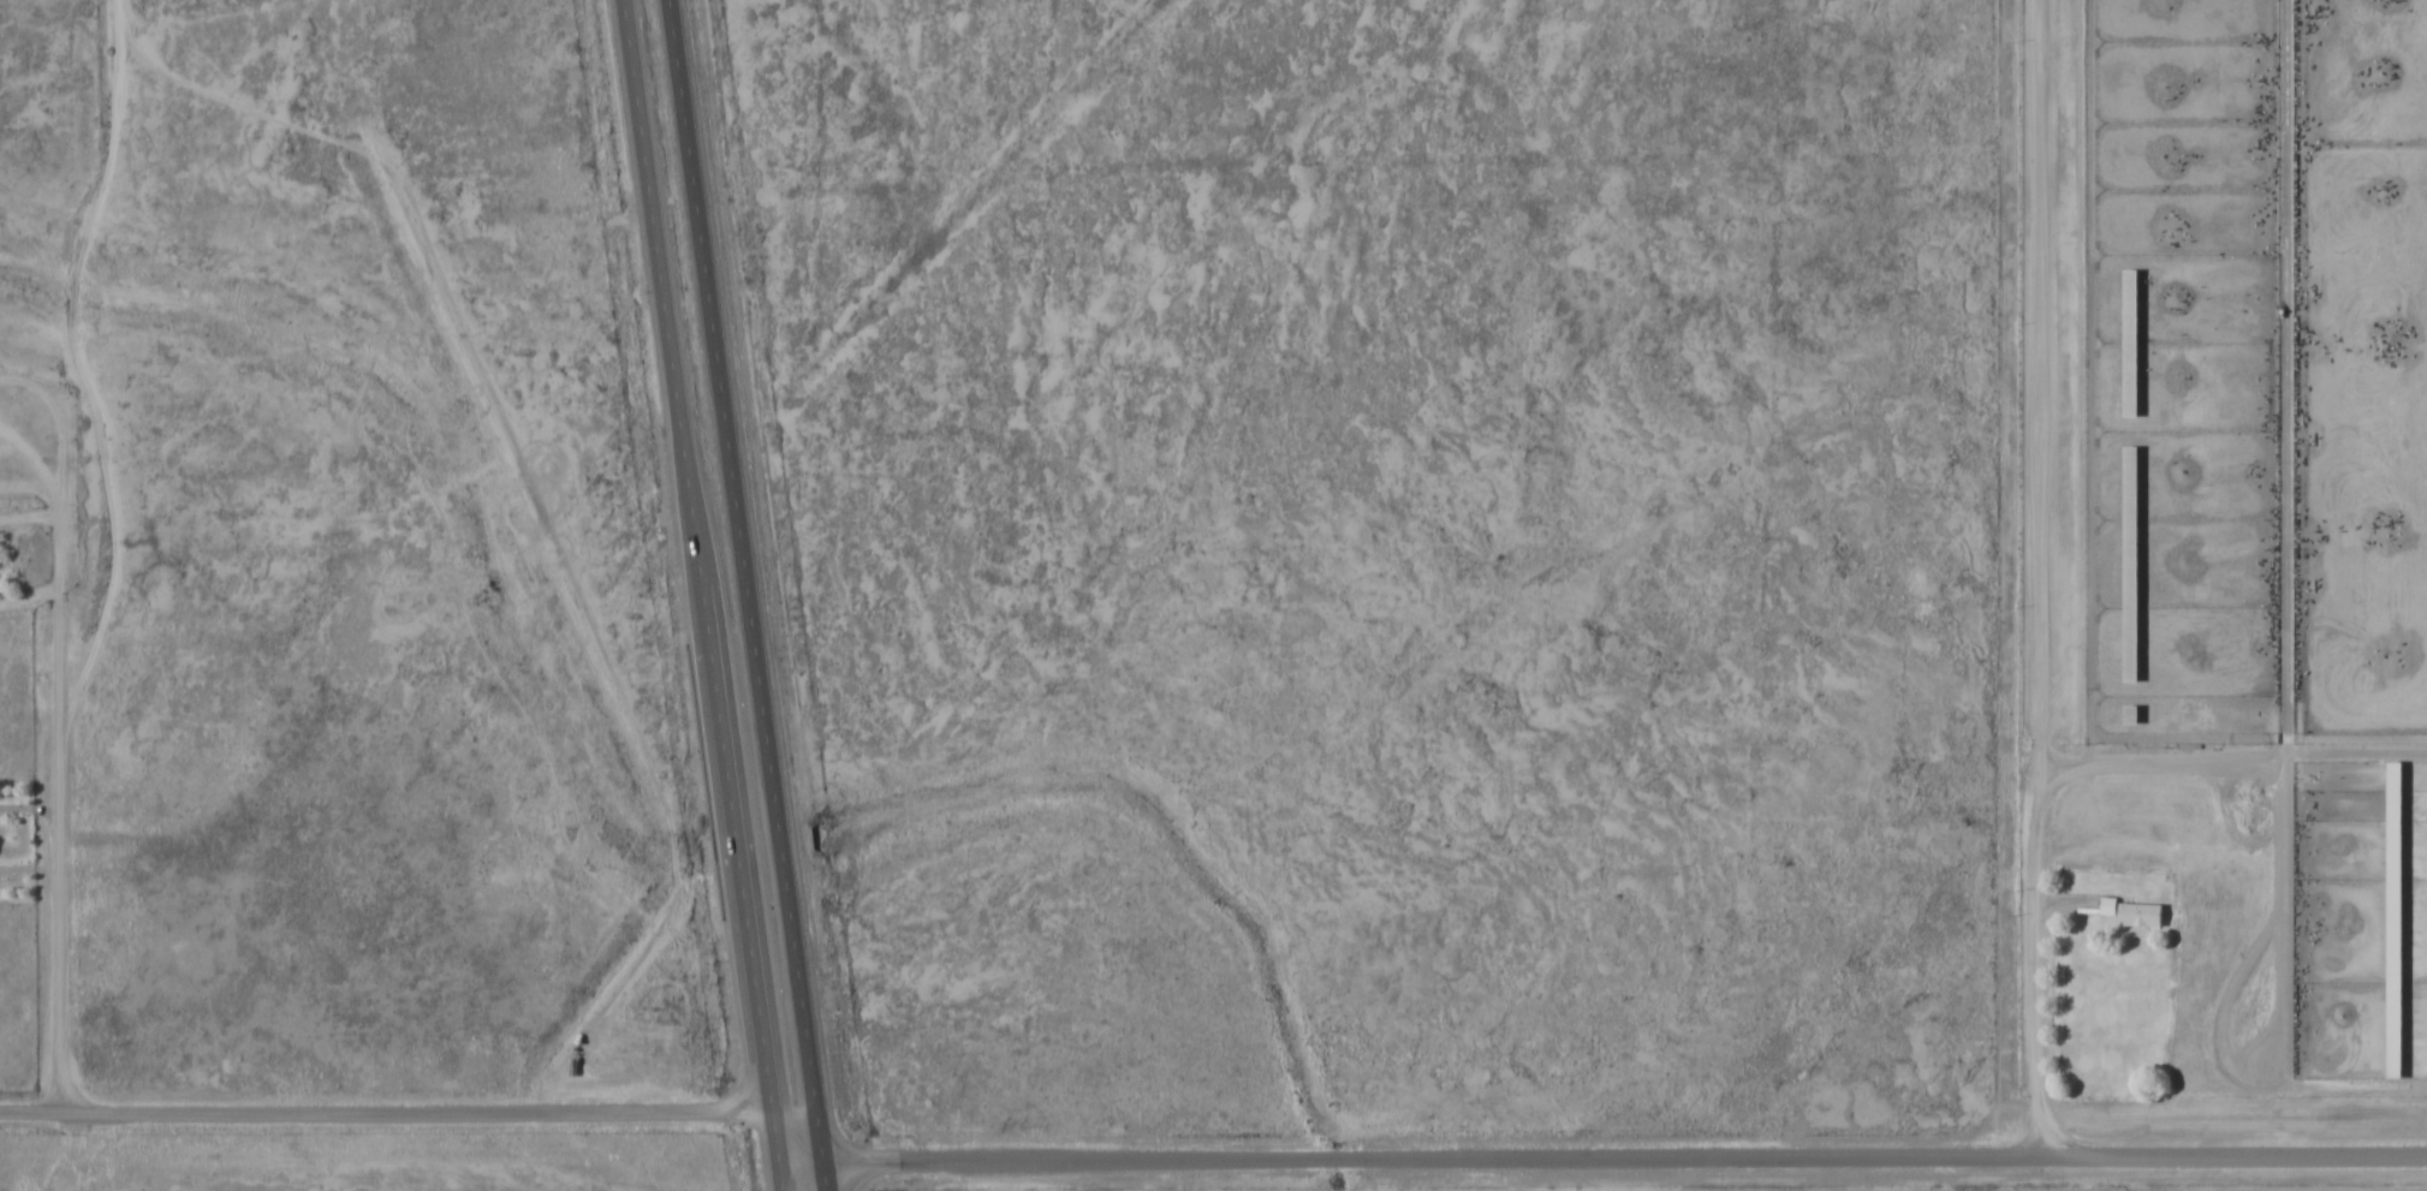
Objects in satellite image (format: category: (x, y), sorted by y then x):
building: (2129, 340)
building: (2128, 561)
road: (700, 595)
road: (751, 595)
building: (2128, 713)
road: (61, 812)
building: (2139, 913)
building: (2392, 917)
road: (385, 1114)
road: (796, 1119)
road: (1601, 1160)

